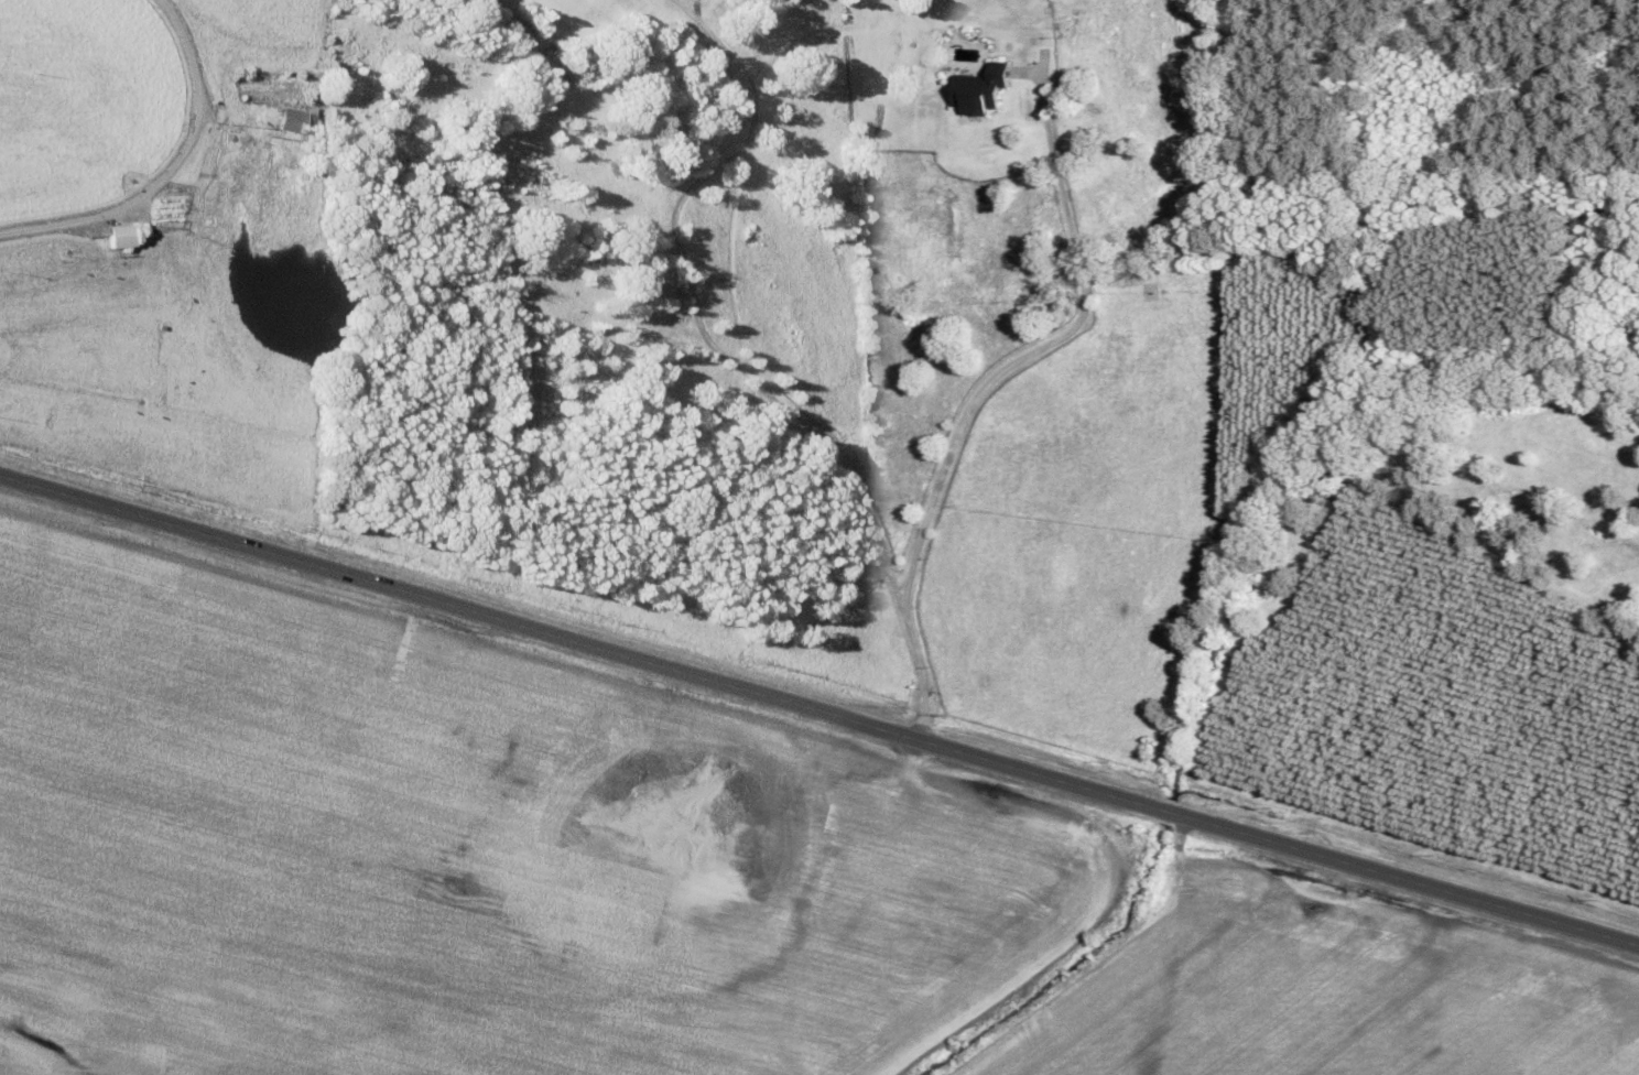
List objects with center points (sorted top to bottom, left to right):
building: (981, 90)
building: (292, 120)
building: (118, 237)
building: (578, 247)
road: (819, 702)

